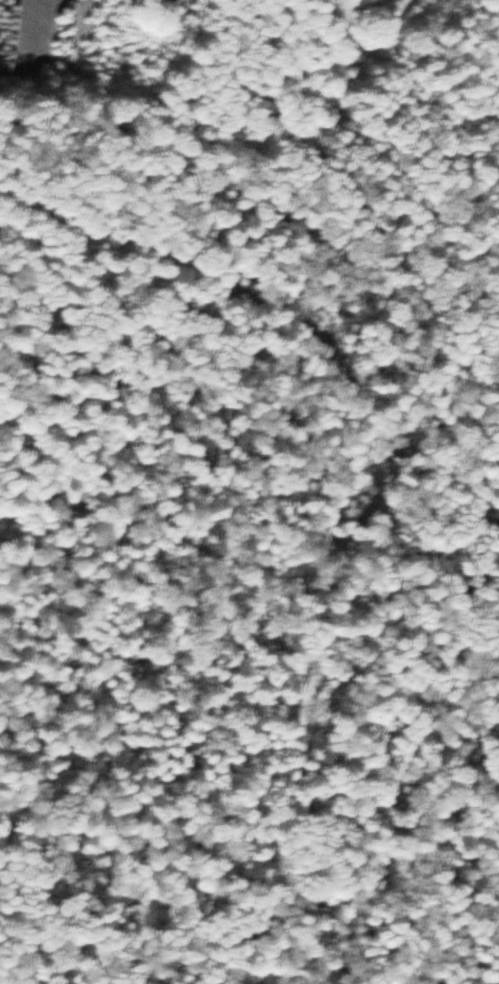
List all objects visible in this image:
road: (286, 311)

